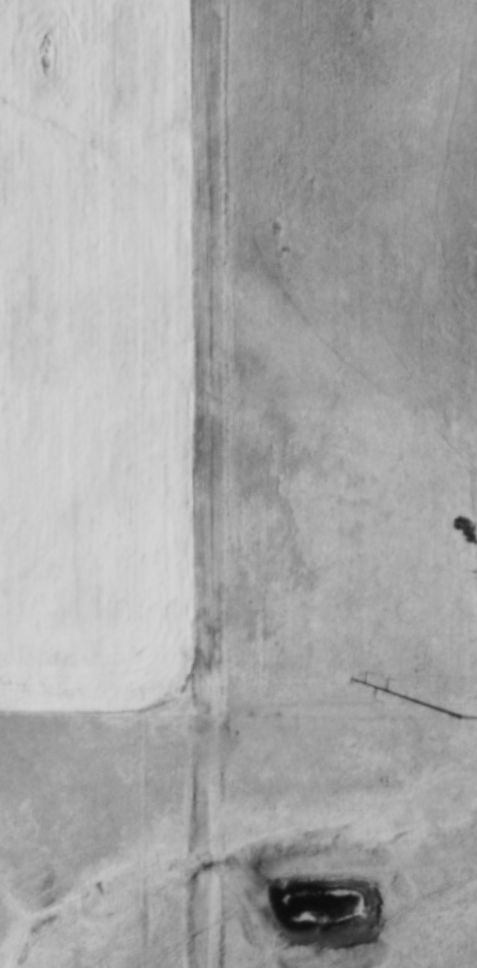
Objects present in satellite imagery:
power tower: (458, 709)

